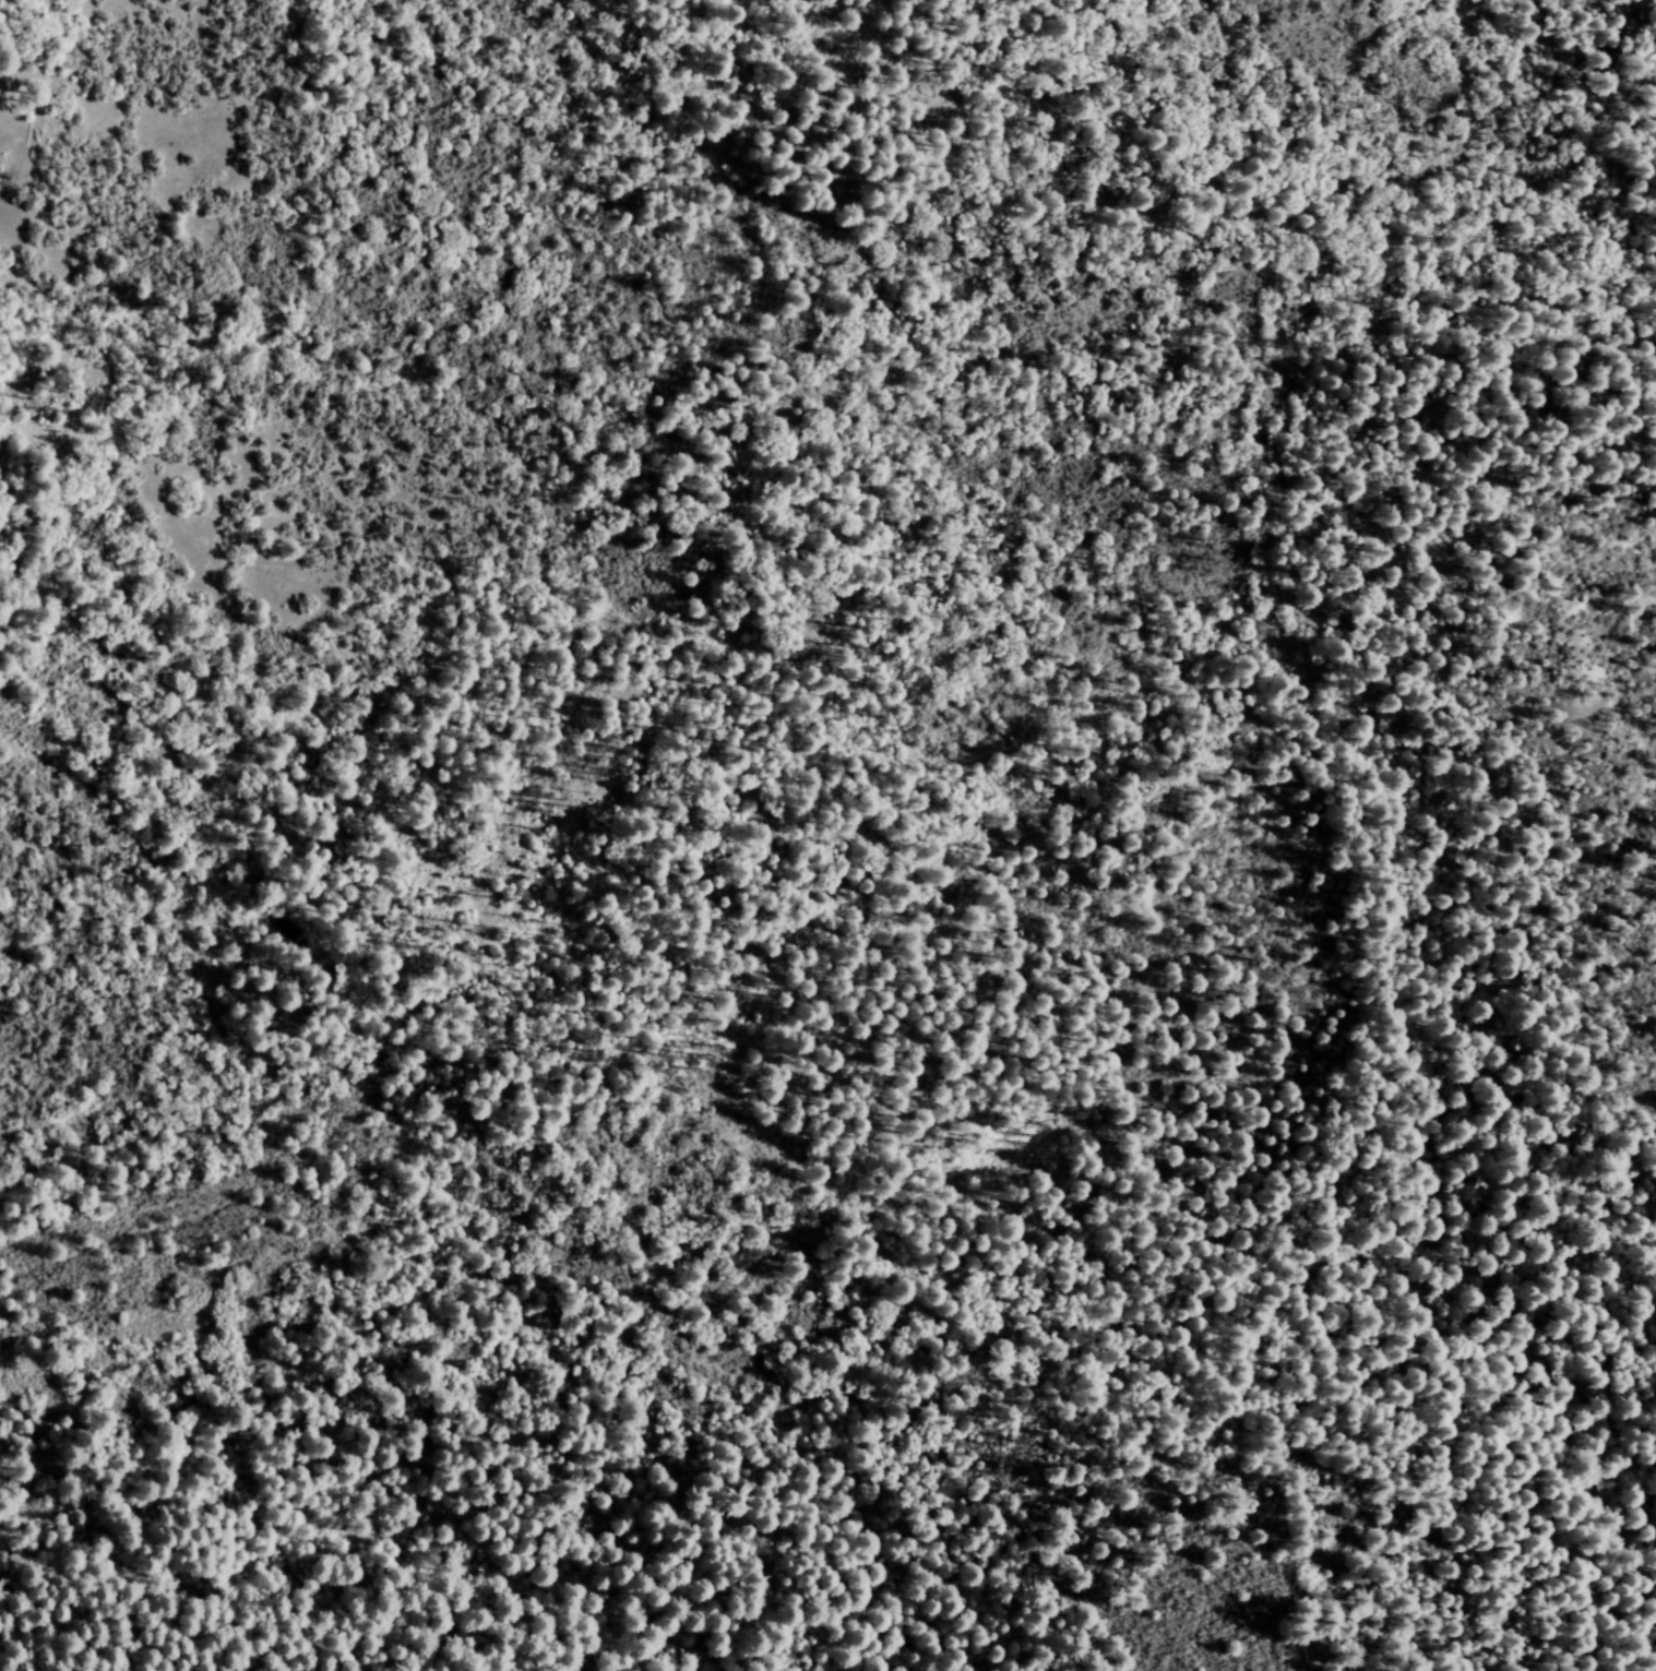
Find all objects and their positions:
park: (827, 835)

